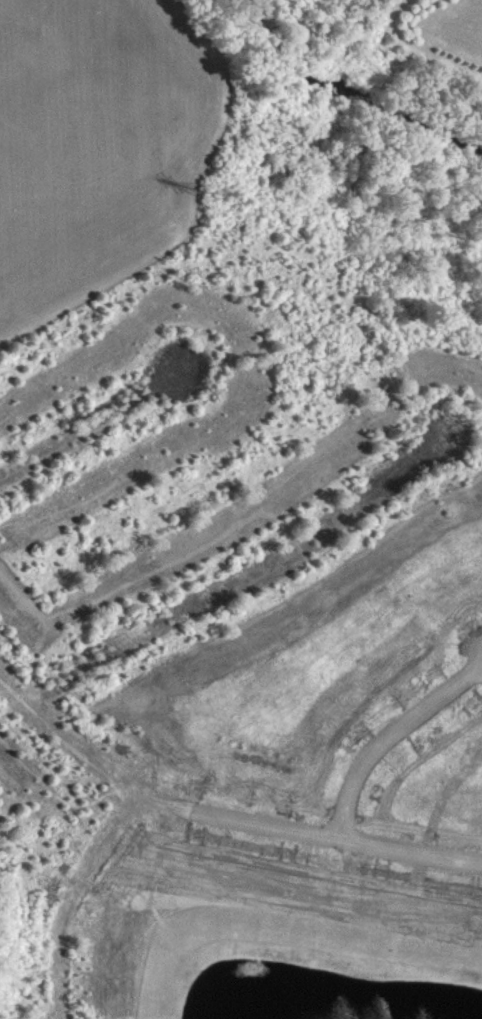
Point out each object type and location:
power tower: (211, 195)
road: (88, 425)
road: (238, 586)
road: (386, 736)
road: (221, 819)

